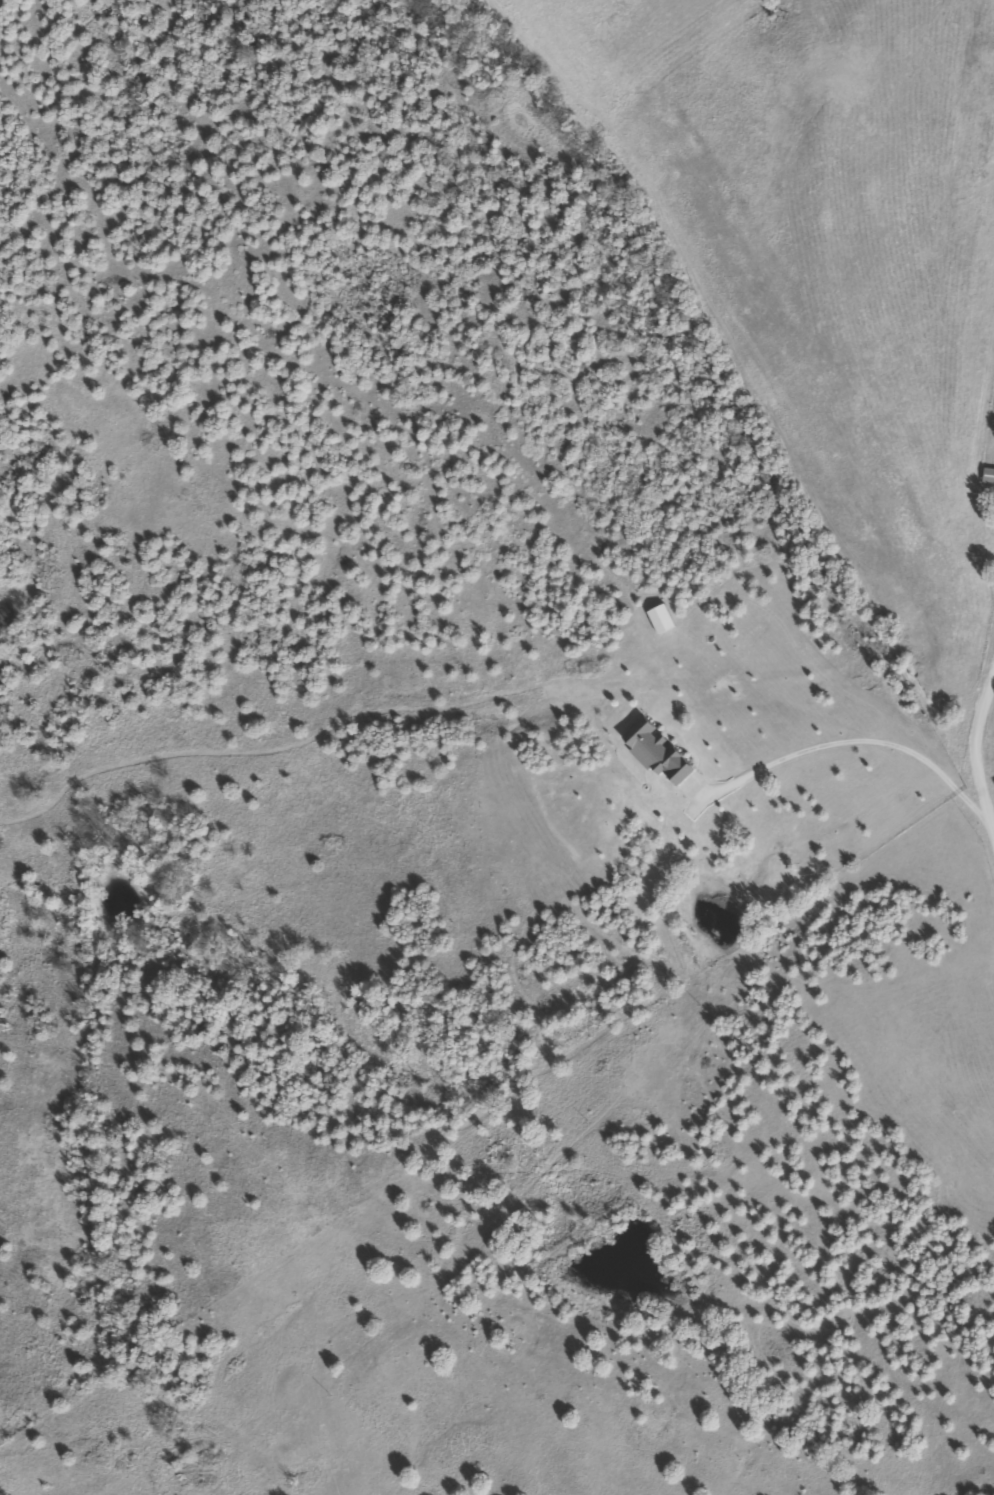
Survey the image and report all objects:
park: (987, 442)
building: (987, 475)
road: (976, 781)

